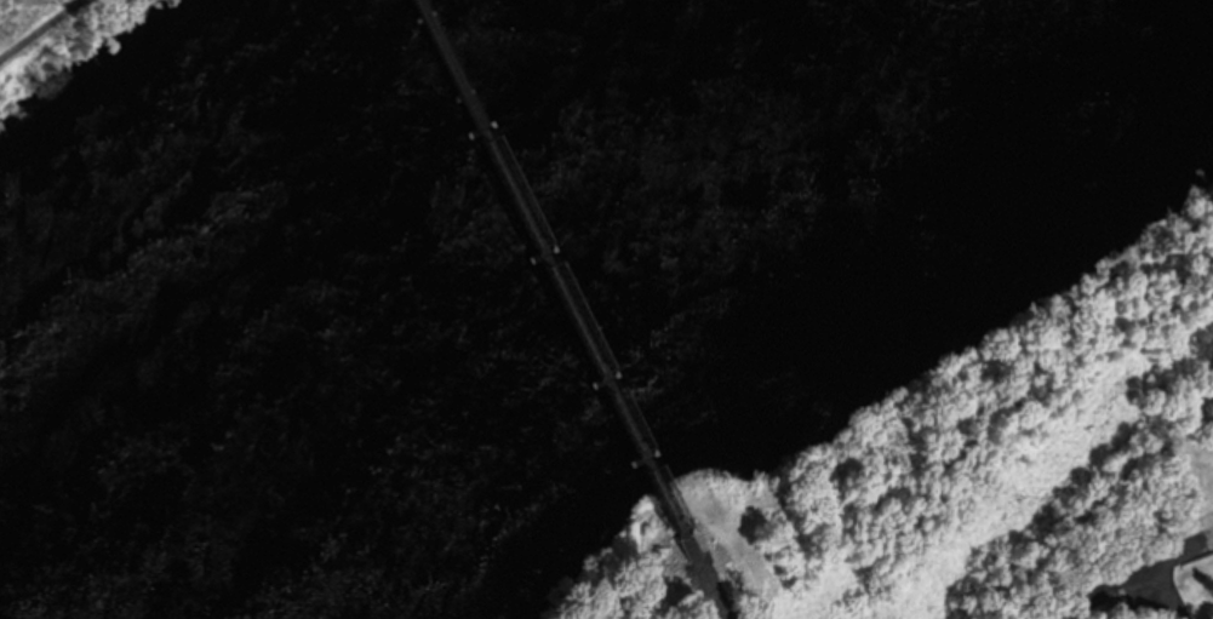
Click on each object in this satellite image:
road: (38, 28)
river: (419, 262)
railway: (538, 276)
railway: (696, 585)

